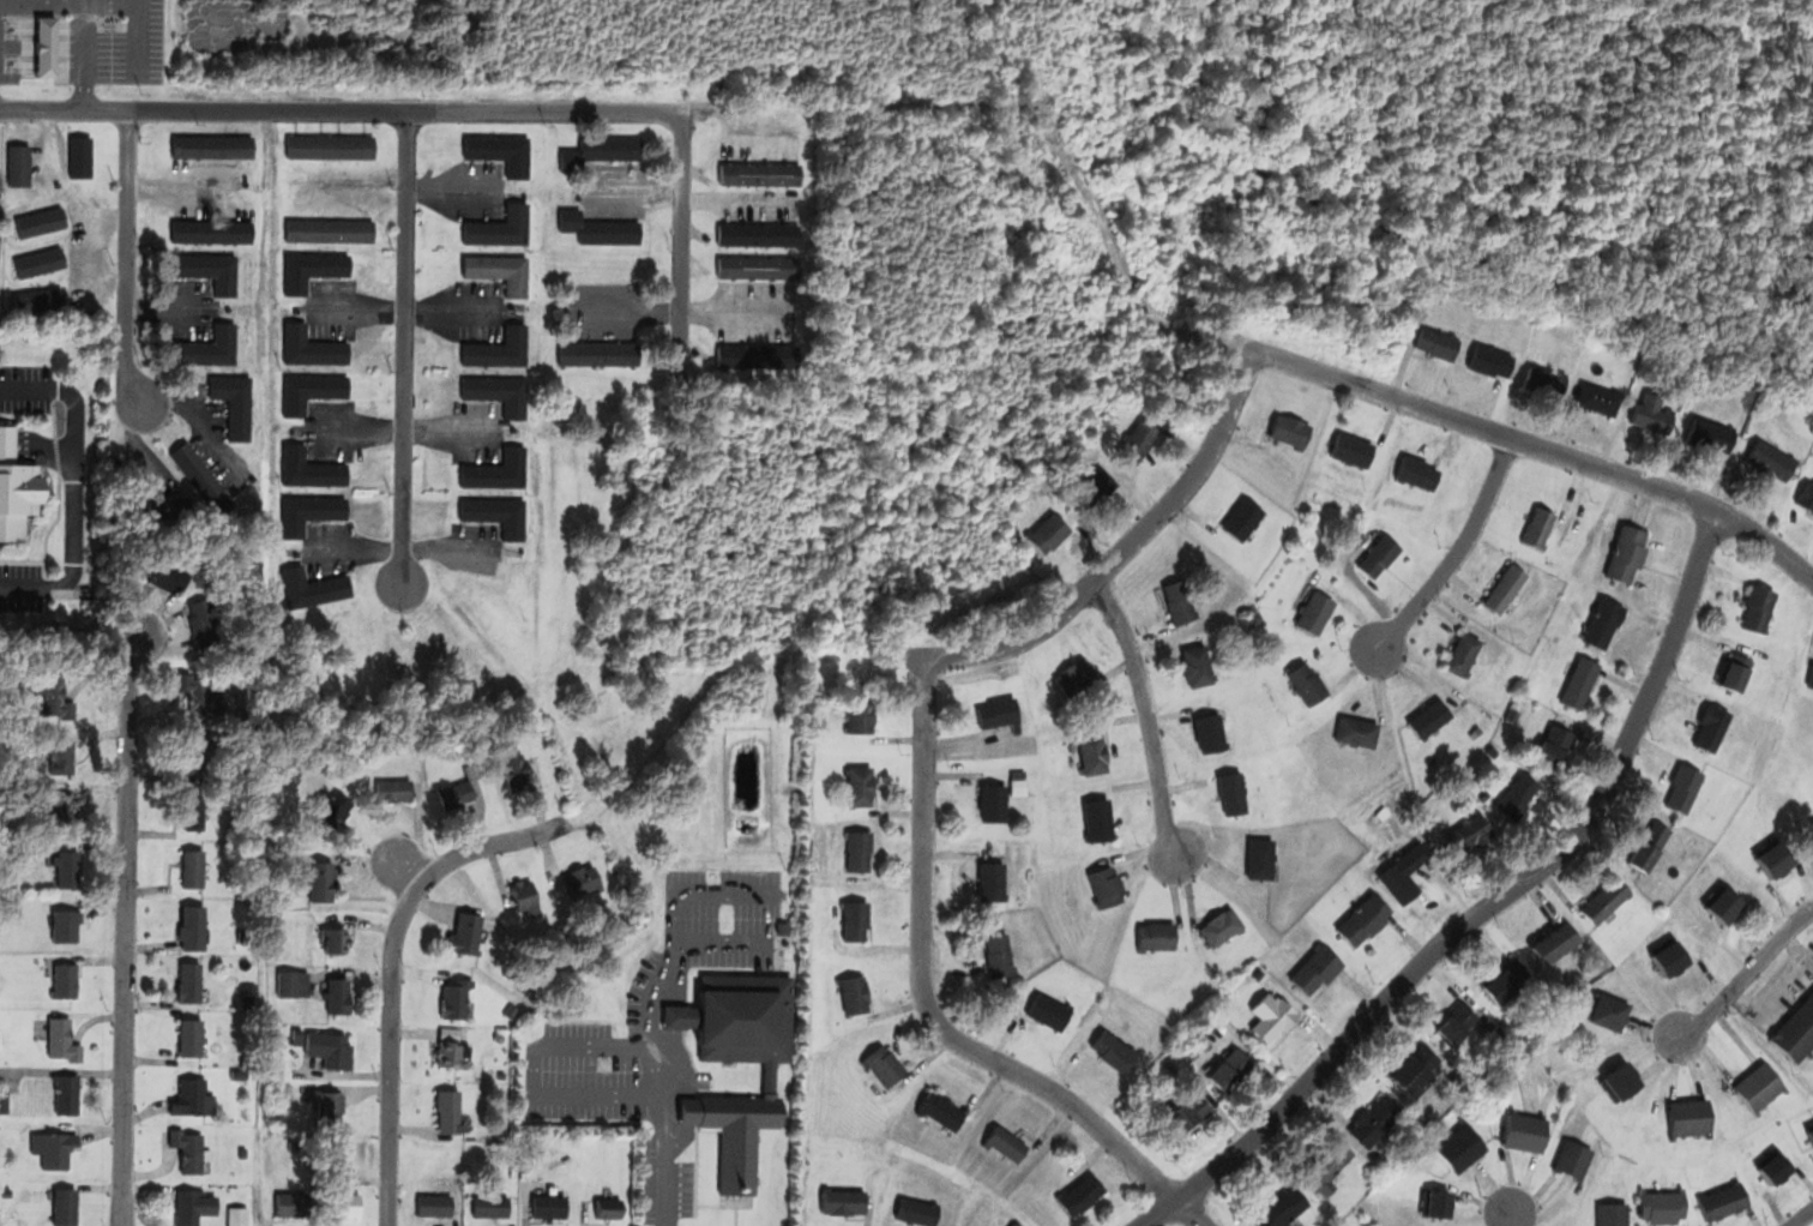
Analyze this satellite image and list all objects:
building: (47, 47)
road: (339, 110)
building: (212, 145)
building: (331, 145)
building: (600, 150)
building: (501, 151)
building: (82, 156)
building: (19, 163)
building: (759, 174)
building: (40, 221)
building: (500, 227)
building: (329, 228)
building: (598, 228)
building: (211, 230)
road: (681, 232)
building: (758, 232)
building: (38, 260)
road: (126, 260)
building: (758, 265)
building: (207, 269)
building: (312, 269)
building: (501, 271)
building: (37, 298)
building: (1436, 342)
building: (311, 347)
road: (404, 347)
building: (205, 348)
building: (498, 349)
building: (600, 353)
building: (754, 355)
building: (1488, 359)
building: (1546, 383)
building: (311, 390)
building: (499, 392)
building: (1598, 398)
building: (233, 401)
building: (1652, 411)
building: (1290, 429)
building: (1710, 434)
road: (137, 437)
building: (1139, 440)
road: (1540, 446)
building: (1351, 450)
building: (1771, 461)
building: (309, 469)
building: (498, 471)
building: (1419, 473)
building: (203, 479)
building: (1101, 483)
building: (16, 487)
building: (1807, 497)
building: (164, 507)
building: (308, 510)
building: (496, 512)
building: (1243, 521)
building: (1062, 525)
building: (1538, 527)
road: (1127, 546)
road: (1457, 548)
building: (1626, 552)
building: (1379, 554)
building: (162, 573)
building: (1558, 582)
building: (313, 587)
building: (1502, 588)
building: (1179, 601)
building: (1759, 609)
building: (1314, 611)
building: (203, 619)
building: (1602, 621)
building: (1463, 651)
building: (1195, 666)
building: (1735, 672)
building: (1077, 675)
building: (1811, 677)
building: (1579, 680)
building: (1307, 681)
building: (197, 693)
building: (54, 695)
building: (998, 711)
building: (862, 713)
road: (1145, 713)
building: (1511, 714)
building: (1428, 717)
building: (1711, 727)
building: (1209, 732)
building: (1357, 732)
building: (1456, 741)
building: (1019, 745)
building: (1556, 746)
building: (198, 749)
building: (1092, 749)
building: (1488, 750)
building: (71, 753)
building: (516, 769)
building: (1018, 771)
building: (860, 786)
building: (1019, 786)
building: (458, 787)
building: (1684, 788)
building: (393, 789)
building: (1233, 793)
building: (1519, 794)
building: (992, 804)
building: (193, 805)
building: (333, 807)
building: (72, 809)
building: (1098, 818)
building: (1812, 827)
building: (1470, 833)
building: (1650, 845)
building: (860, 851)
building: (1776, 855)
building: (1263, 857)
building: (194, 867)
building: (67, 870)
road: (406, 870)
building: (1404, 873)
building: (321, 879)
building: (582, 879)
building: (992, 881)
building: (1107, 885)
road: (1504, 891)
building: (525, 896)
building: (1607, 897)
building: (1725, 903)
building: (1362, 919)
building: (857, 920)
building: (67, 924)
road: (125, 926)
building: (194, 926)
building: (1221, 926)
building: (782, 927)
building: (464, 934)
building: (1156, 934)
building: (335, 937)
building: (1555, 940)
building: (999, 952)
building: (1669, 957)
road: (390, 968)
building: (1315, 968)
road: (1746, 972)
building: (1258, 973)
building: (64, 980)
building: (1506, 980)
building: (188, 984)
building: (293, 985)
road: (922, 990)
building: (337, 994)
building: (855, 994)
building: (456, 998)
building: (246, 999)
building: (508, 1010)
building: (1048, 1011)
building: (1609, 1011)
building: (1273, 1015)
building: (1212, 1016)
building: (1457, 1023)
building: (1795, 1034)
building: (189, 1038)
building: (62, 1039)
building: (327, 1045)
building: (1113, 1050)
building: (450, 1053)
building: (737, 1058)
building: (885, 1065)
building: (1419, 1065)
building: (1169, 1068)
building: (1230, 1070)
building: (239, 1072)
building: (1621, 1082)
building: (1759, 1086)
building: (66, 1094)
building: (193, 1098)
building: (4, 1102)
building: (327, 1105)
building: (448, 1111)
building: (942, 1112)
building: (1189, 1113)
building: (1688, 1117)
building: (1373, 1119)
building: (276, 1128)
building: (1525, 1132)
building: (1811, 1134)
building: (1006, 1144)
building: (1459, 1147)
building: (58, 1150)
building: (189, 1152)
building: (242, 1152)
building: (1572, 1158)
building: (1330, 1165)
building: (1777, 1166)
building: (6, 1191)
building: (1080, 1194)
building: (1723, 1198)
building: (843, 1201)
building: (1438, 1201)
building: (291, 1204)
building: (343, 1204)
building: (434, 1204)
building: (549, 1206)
building: (1663, 1206)
building: (65, 1207)
building: (191, 1207)
building: (490, 1207)
building: (609, 1207)
building: (1282, 1207)
building: (916, 1210)
road: (1157, 1212)
road: (1189, 1212)
building: (1613, 1214)
road: (1802, 1218)
road: (1511, 1220)
building: (1017, 1224)

